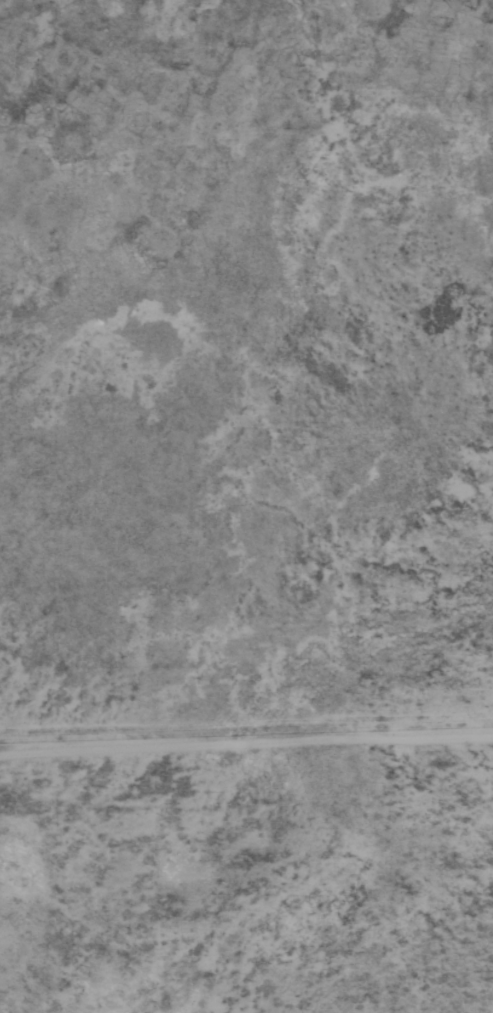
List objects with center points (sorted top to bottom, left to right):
road: (246, 722)

